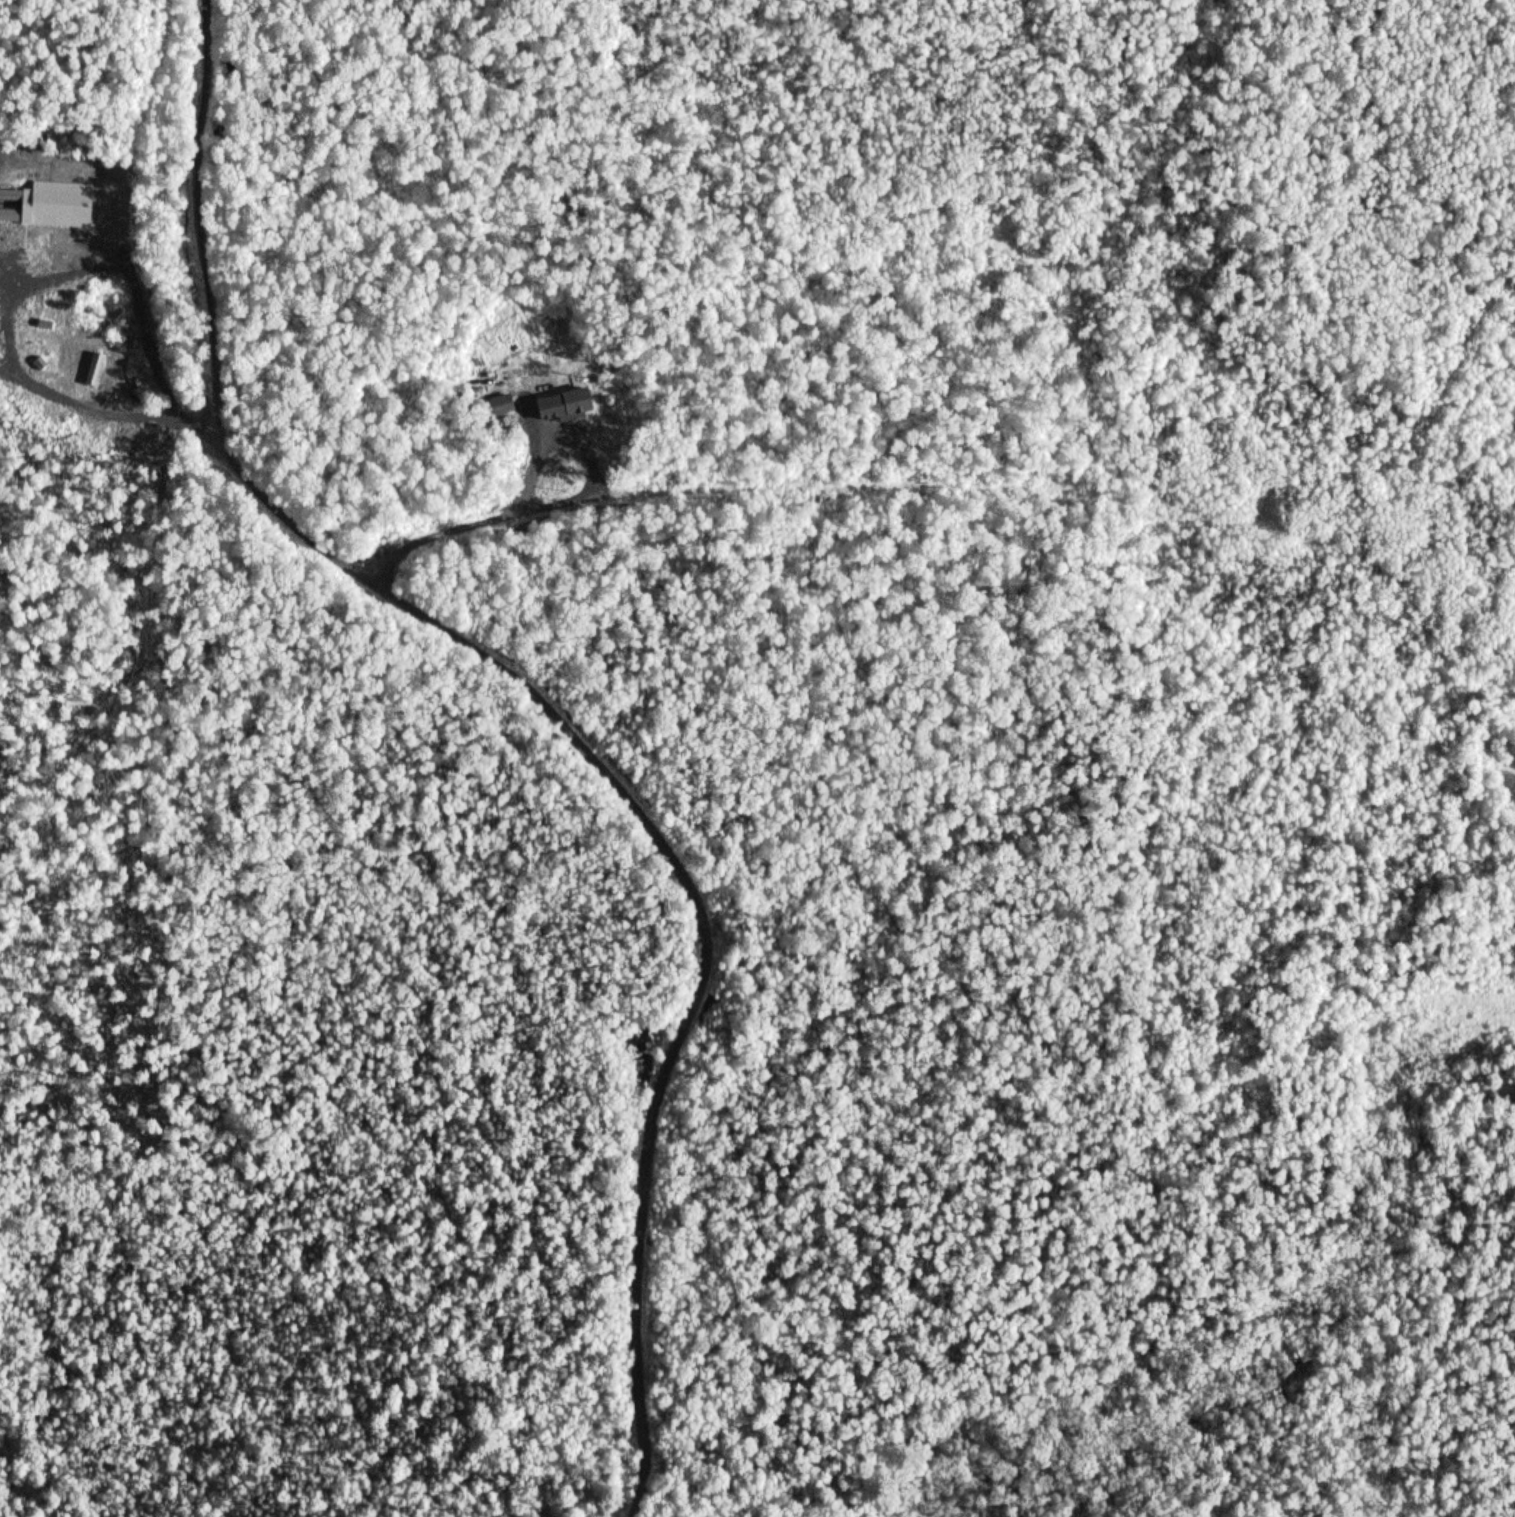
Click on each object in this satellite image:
road: (390, 586)
road: (616, 1309)

